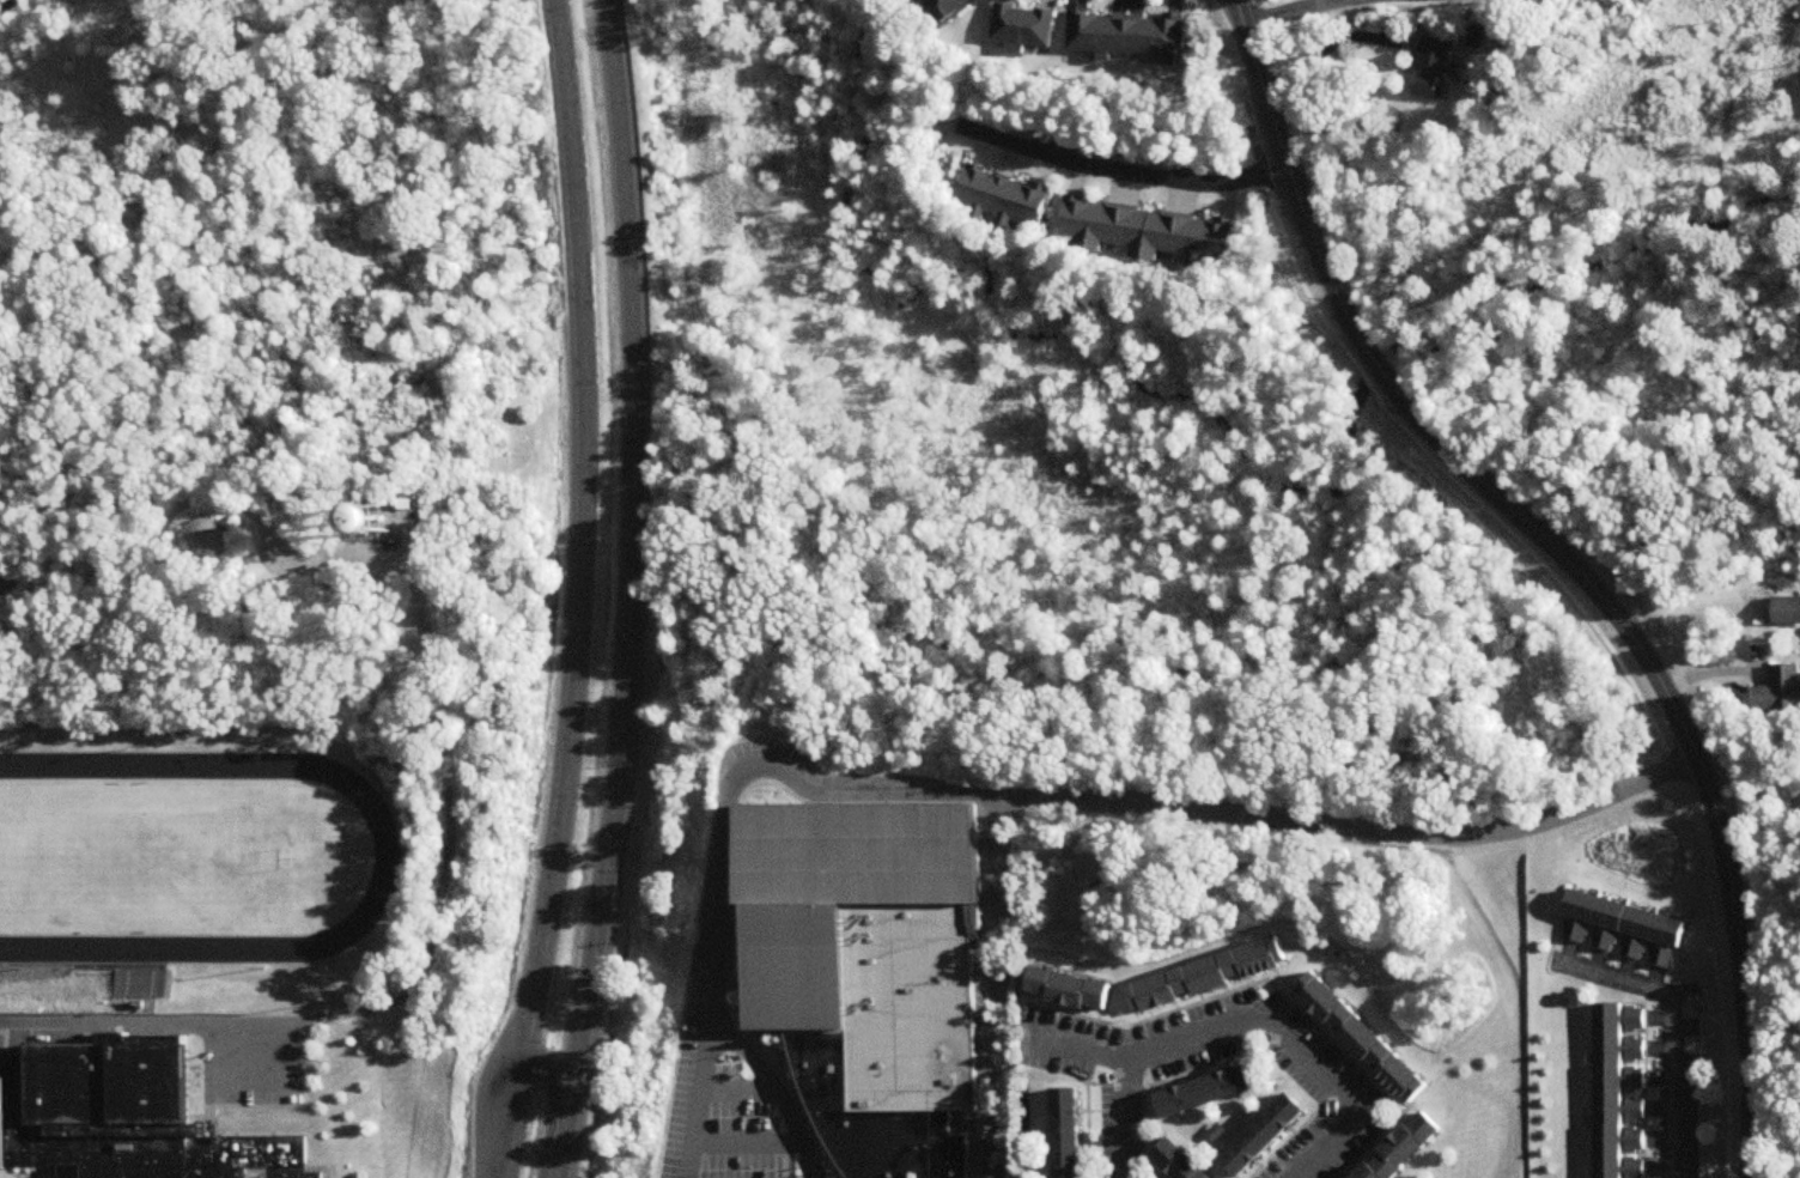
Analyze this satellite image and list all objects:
building: (948, 8)
road: (1283, 13)
building: (1026, 26)
building: (1129, 34)
building: (1433, 67)
road: (1123, 171)
building: (1008, 199)
building: (1149, 230)
building: (394, 520)
water tower: (391, 522)
road: (580, 538)
building: (209, 541)
road: (1567, 559)
road: (633, 590)
building: (1787, 611)
building: (1780, 691)
road: (439, 694)
road: (1003, 799)
road: (1762, 834)
park: (156, 863)
track: (381, 867)
road: (1704, 888)
road: (1164, 900)
building: (1629, 915)
road: (31, 957)
road: (736, 961)
road: (34, 968)
building: (876, 972)
building: (1220, 972)
road: (1273, 986)
road: (987, 988)
building: (1080, 990)
road: (1520, 998)
building: (140, 1006)
road: (1246, 1020)
road: (1668, 1025)
road: (151, 1026)
road: (750, 1033)
road: (1775, 1034)
building: (1370, 1039)
parking lot: (732, 1074)
parking lot: (686, 1079)
road: (1155, 1085)
road: (1090, 1087)
building: (1611, 1088)
building: (1208, 1091)
road: (740, 1092)
road: (1086, 1094)
road: (253, 1098)
road: (701, 1100)
road: (554, 1112)
building: (122, 1117)
parking lot: (743, 1119)
road: (1125, 1119)
road: (512, 1125)
building: (1267, 1128)
building: (1065, 1131)
road: (747, 1143)
road: (1288, 1143)
building: (1406, 1148)
park: (1482, 1153)
building: (1179, 1159)
road: (1114, 1160)
parking lot: (746, 1166)

